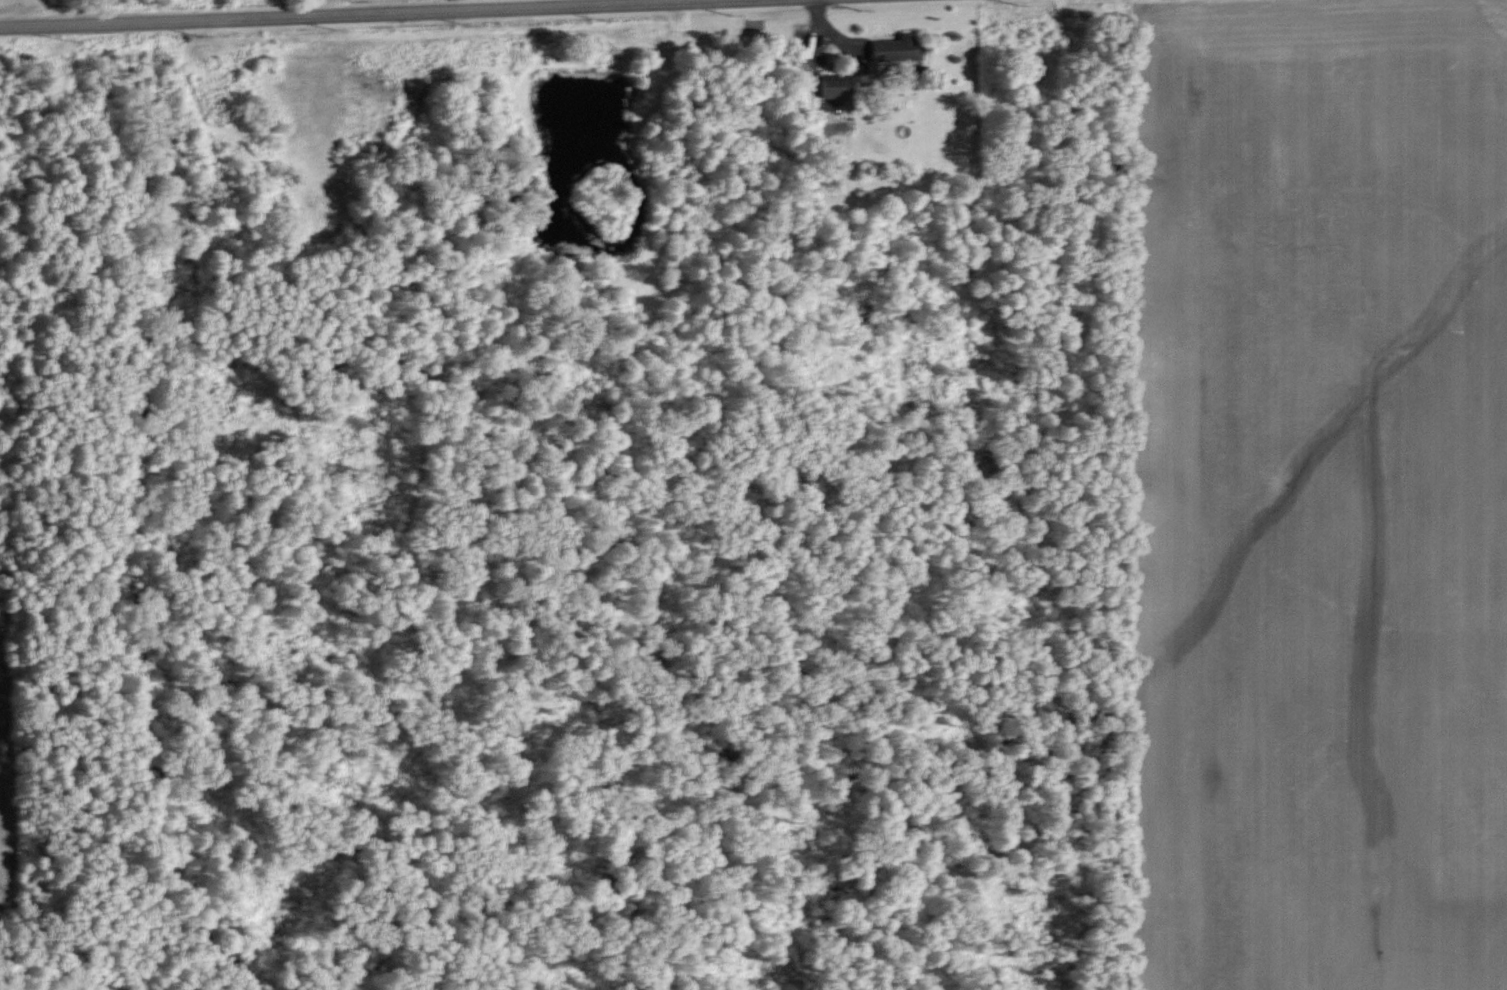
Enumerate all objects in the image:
road: (307, 11)
building: (896, 47)
building: (839, 86)

